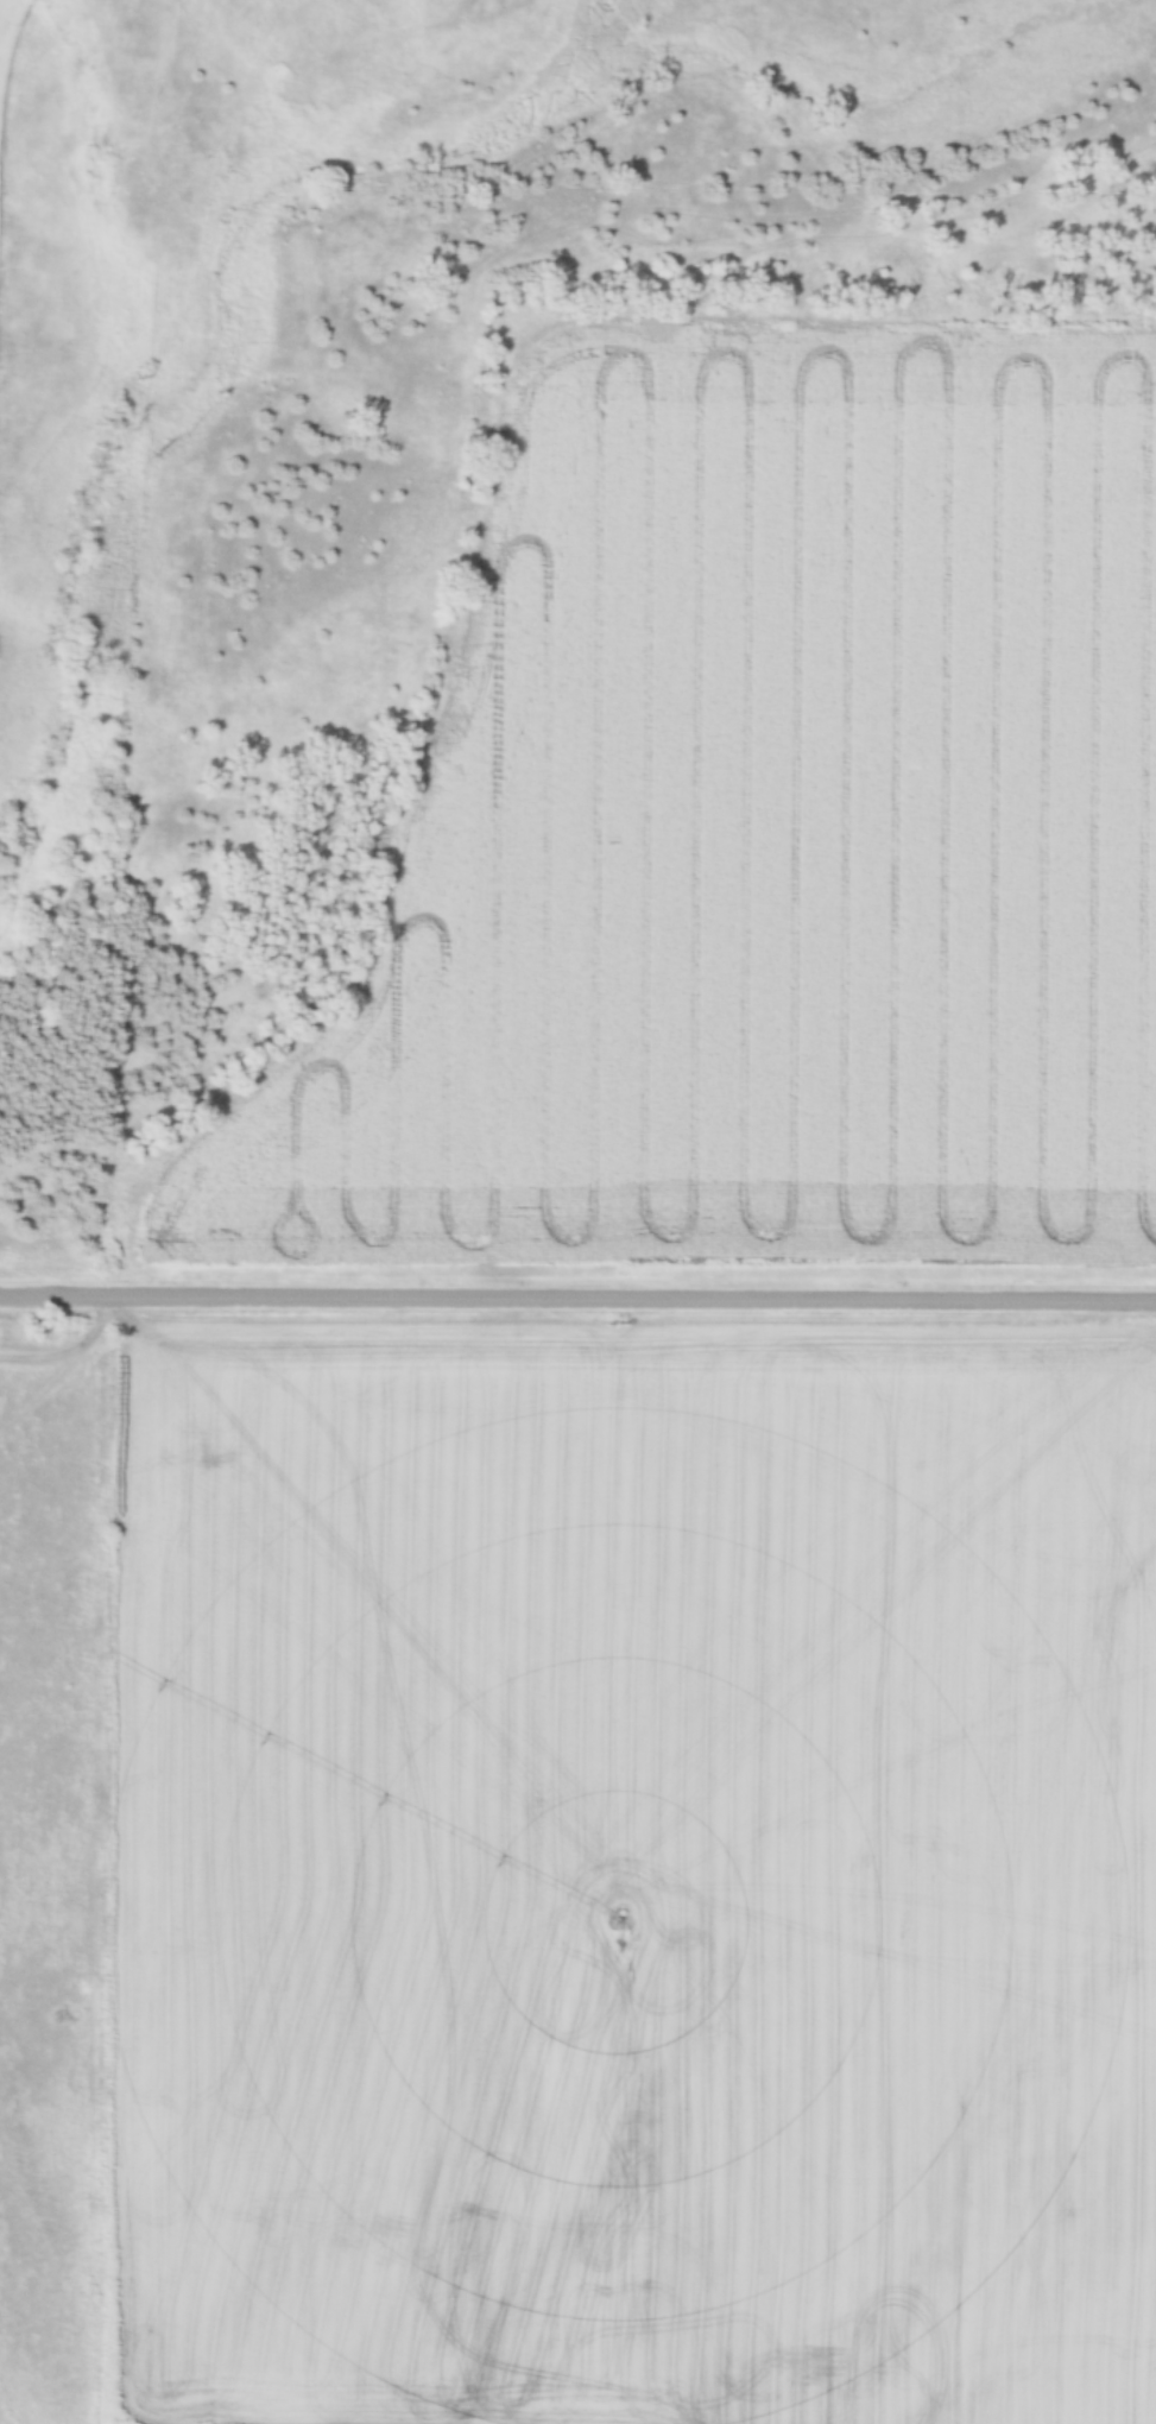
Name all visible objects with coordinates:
road: (577, 1308)

